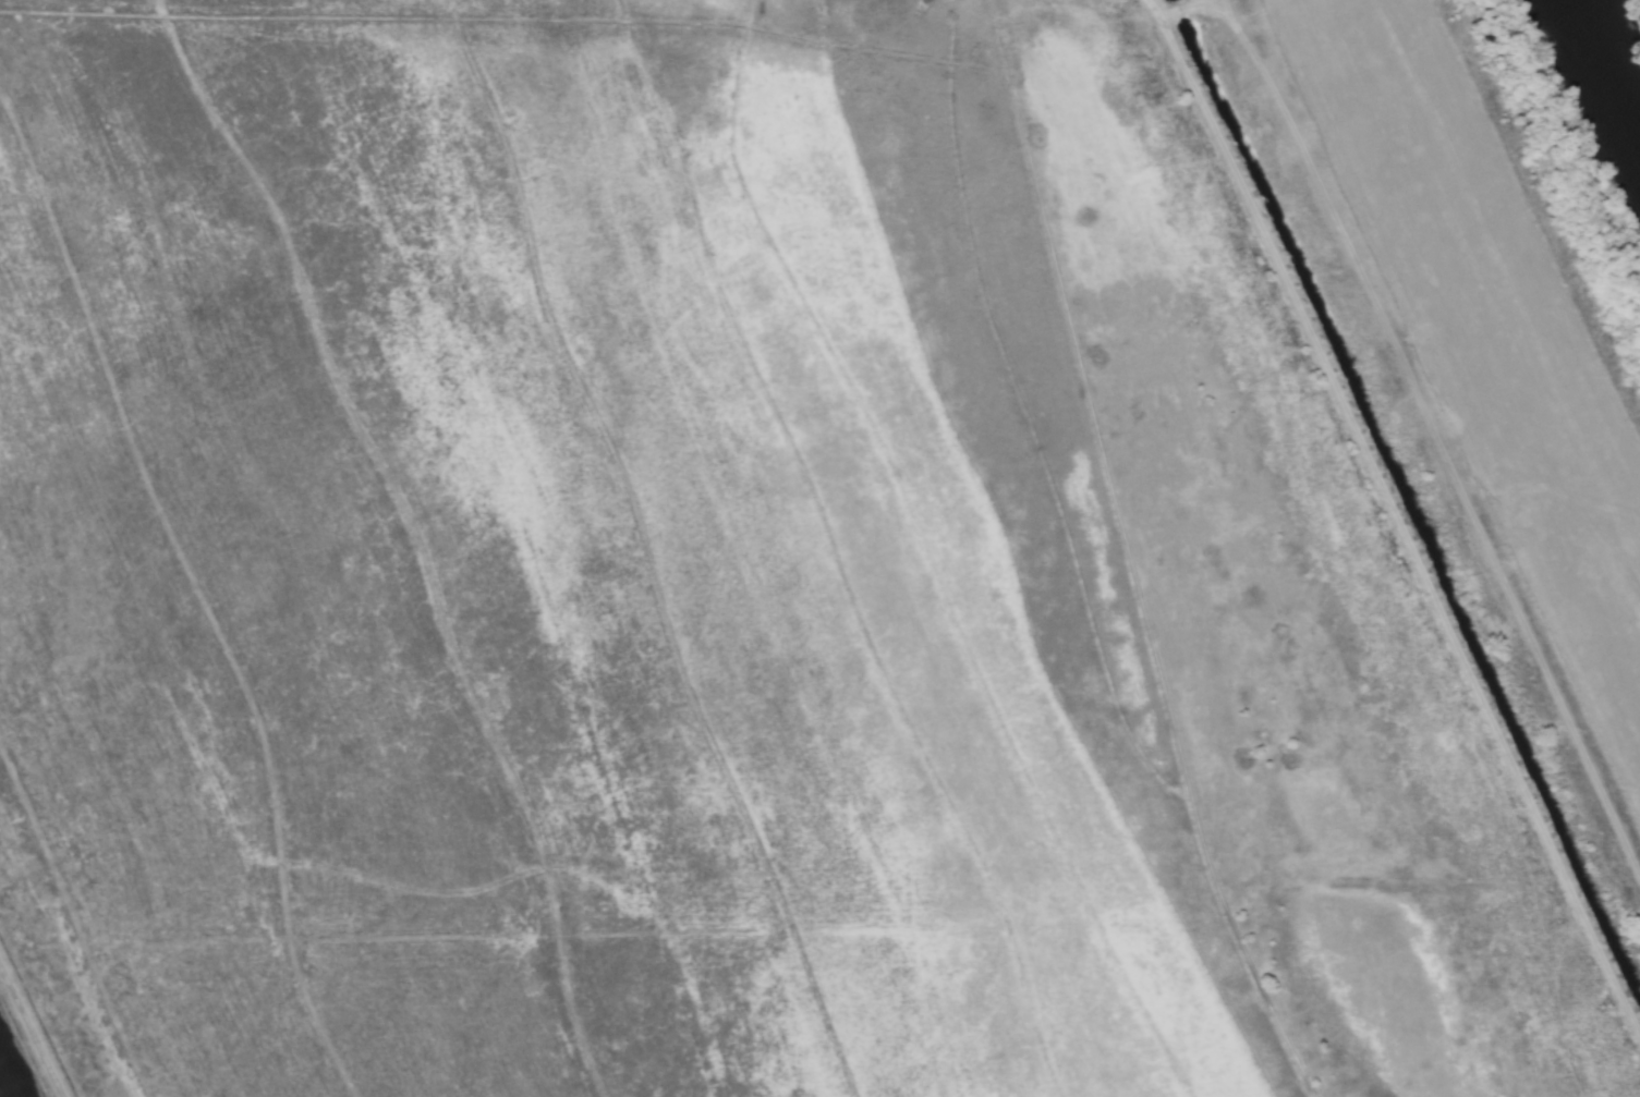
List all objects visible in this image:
crop: (1471, 376)
crop: (555, 576)

